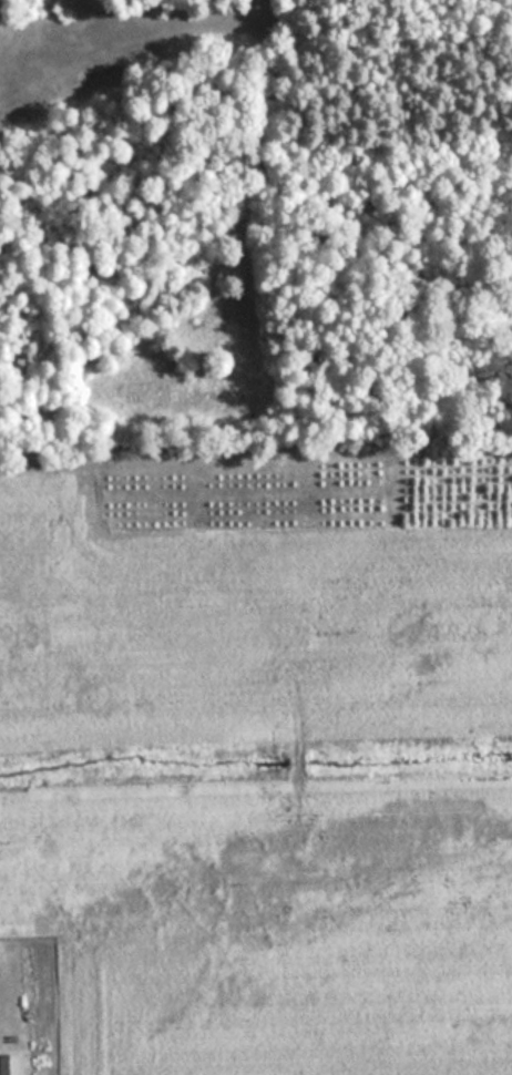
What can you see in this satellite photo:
building: (12, 1064)

